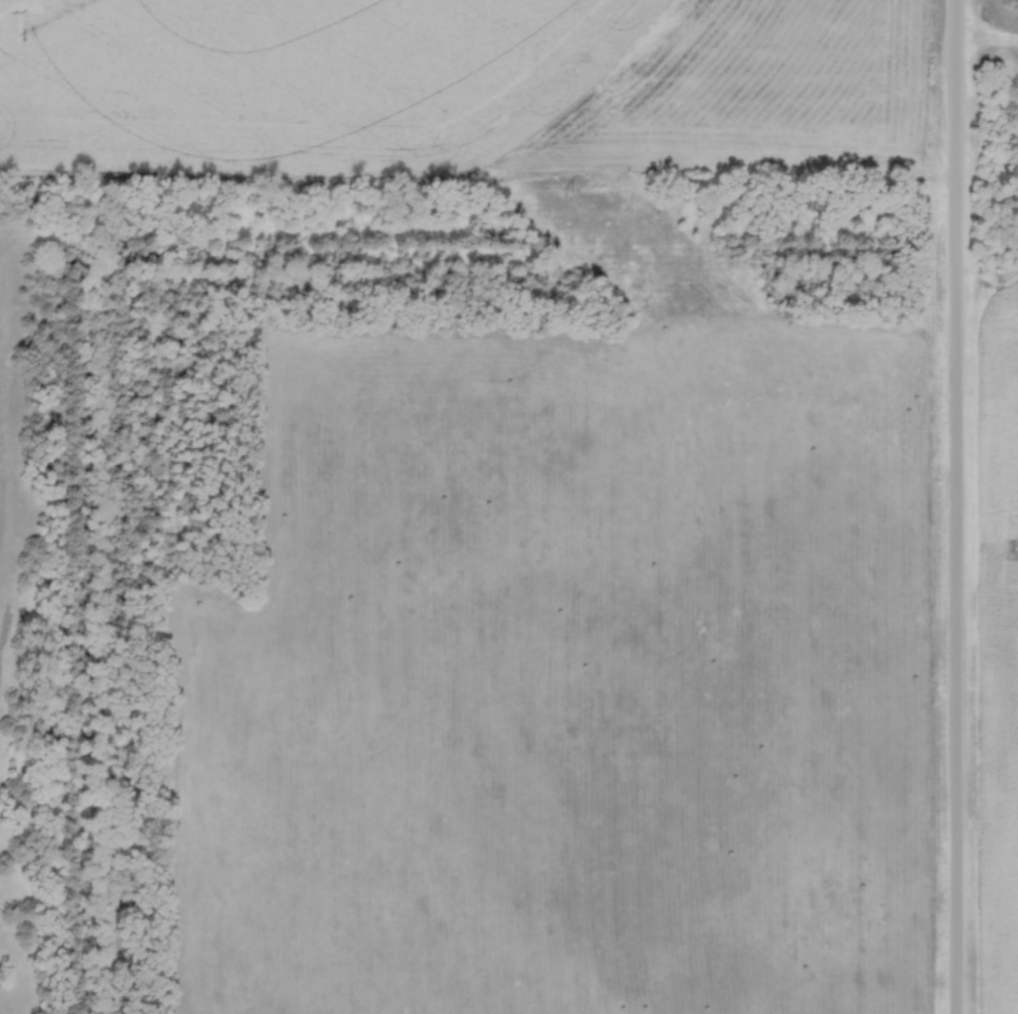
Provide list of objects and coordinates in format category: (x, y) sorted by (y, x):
power tower: (575, 193)
road: (959, 506)
power tower: (1011, 549)

